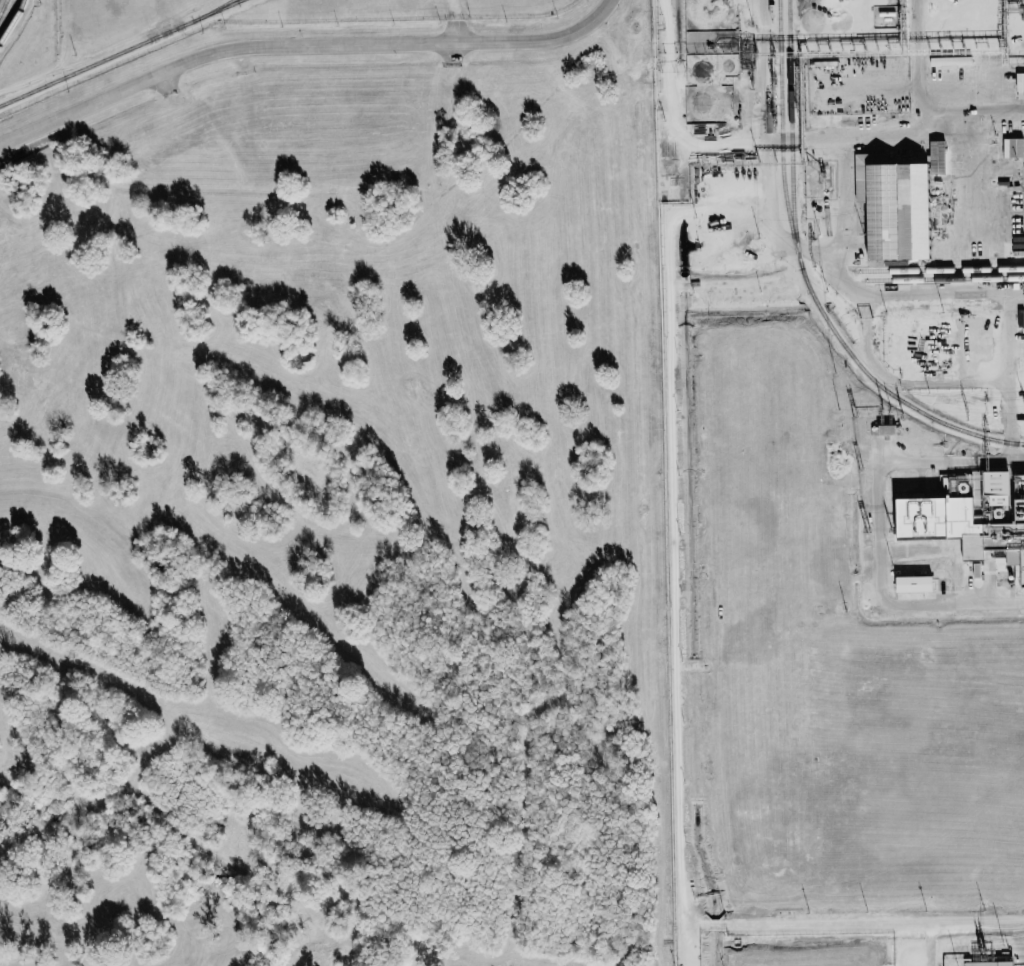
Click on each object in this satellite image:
railway: (238, 0)
railway: (2, 5)
railway: (212, 11)
railway: (13, 22)
railway: (119, 52)
road: (305, 52)
road: (763, 70)
building: (1020, 86)
railway: (790, 134)
road: (756, 140)
building: (1013, 148)
building: (898, 204)
road: (844, 211)
railway: (942, 269)
railway: (945, 278)
railway: (806, 282)
building: (887, 430)
road: (675, 483)
building: (972, 520)
road: (878, 531)
building: (915, 585)
road: (854, 923)
building: (990, 963)

